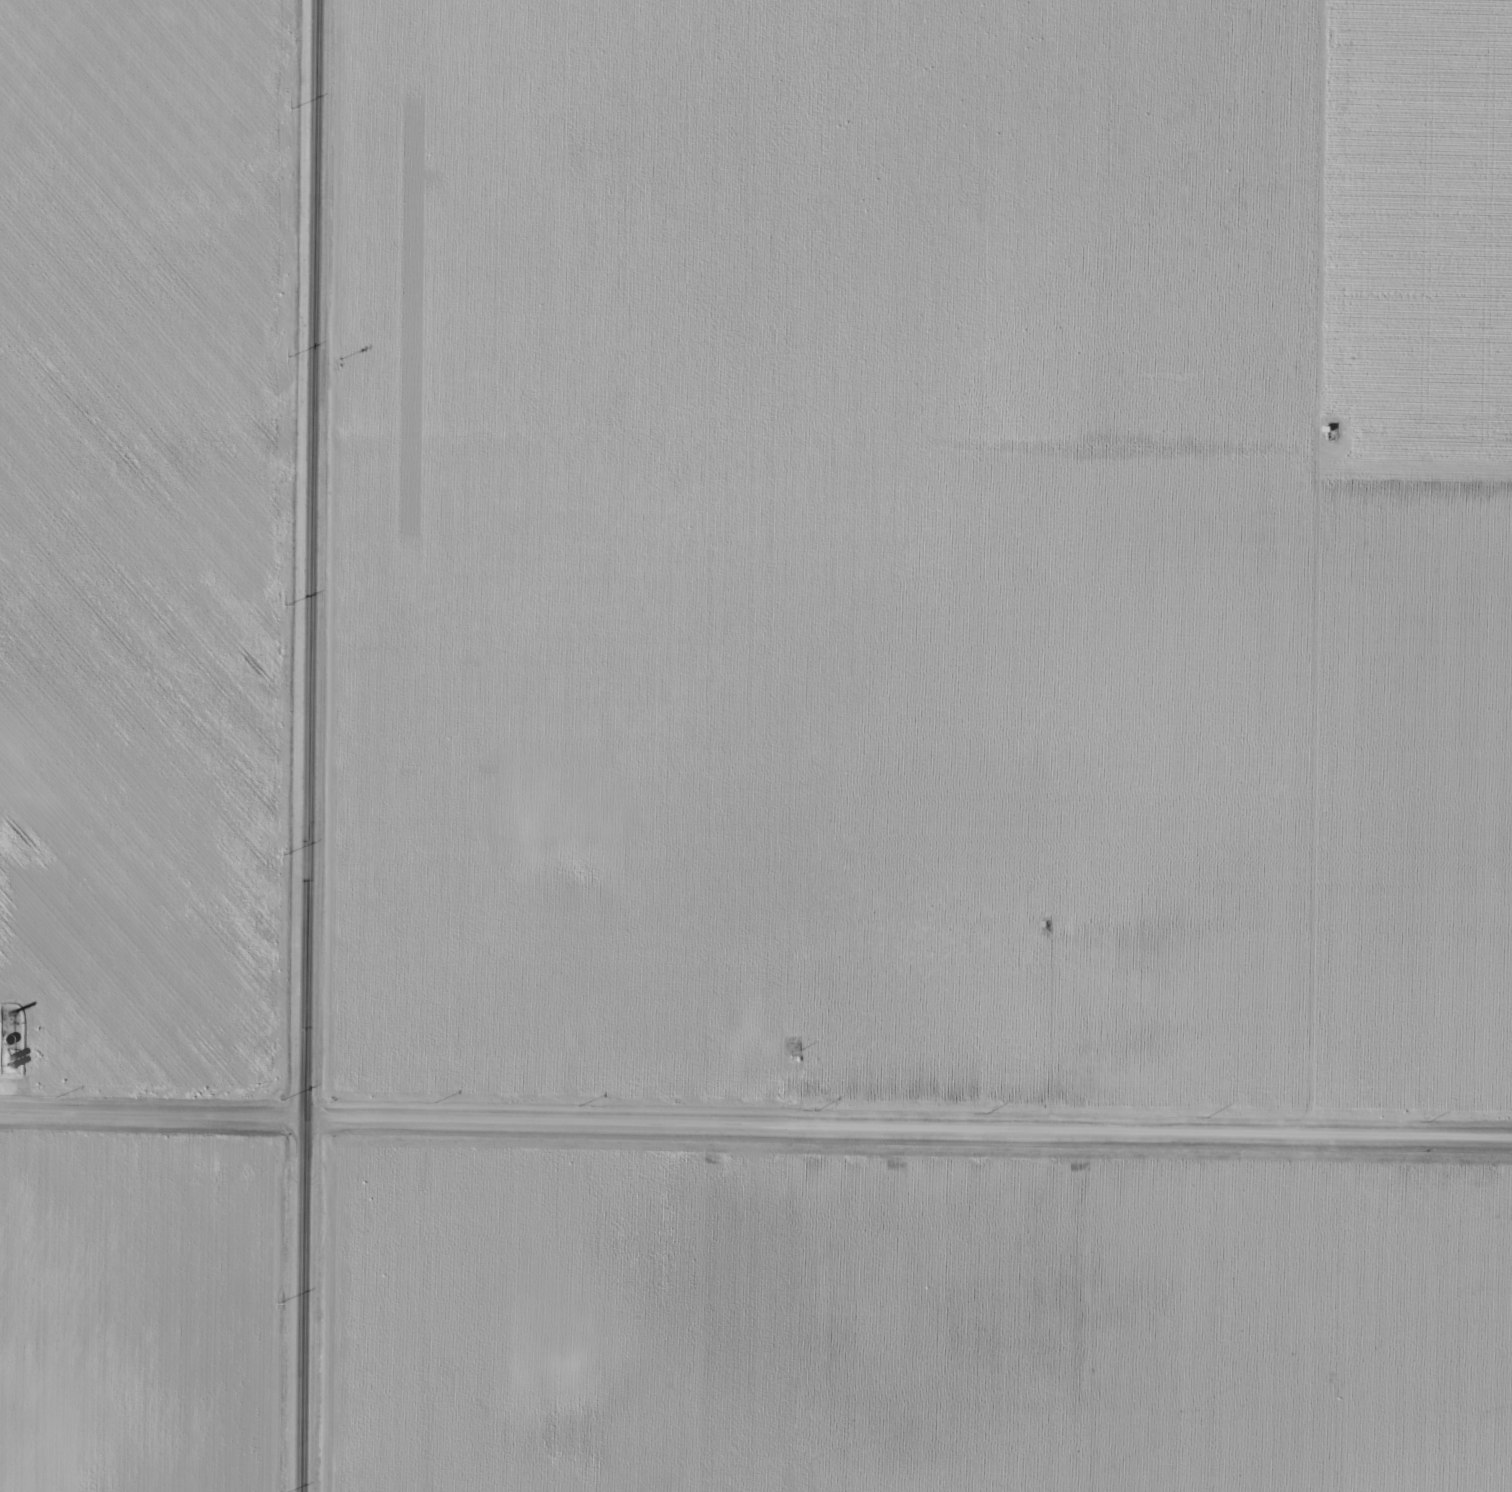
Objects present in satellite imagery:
road: (1346, 673)
road: (314, 745)
road: (756, 1144)
road: (1364, 1328)

